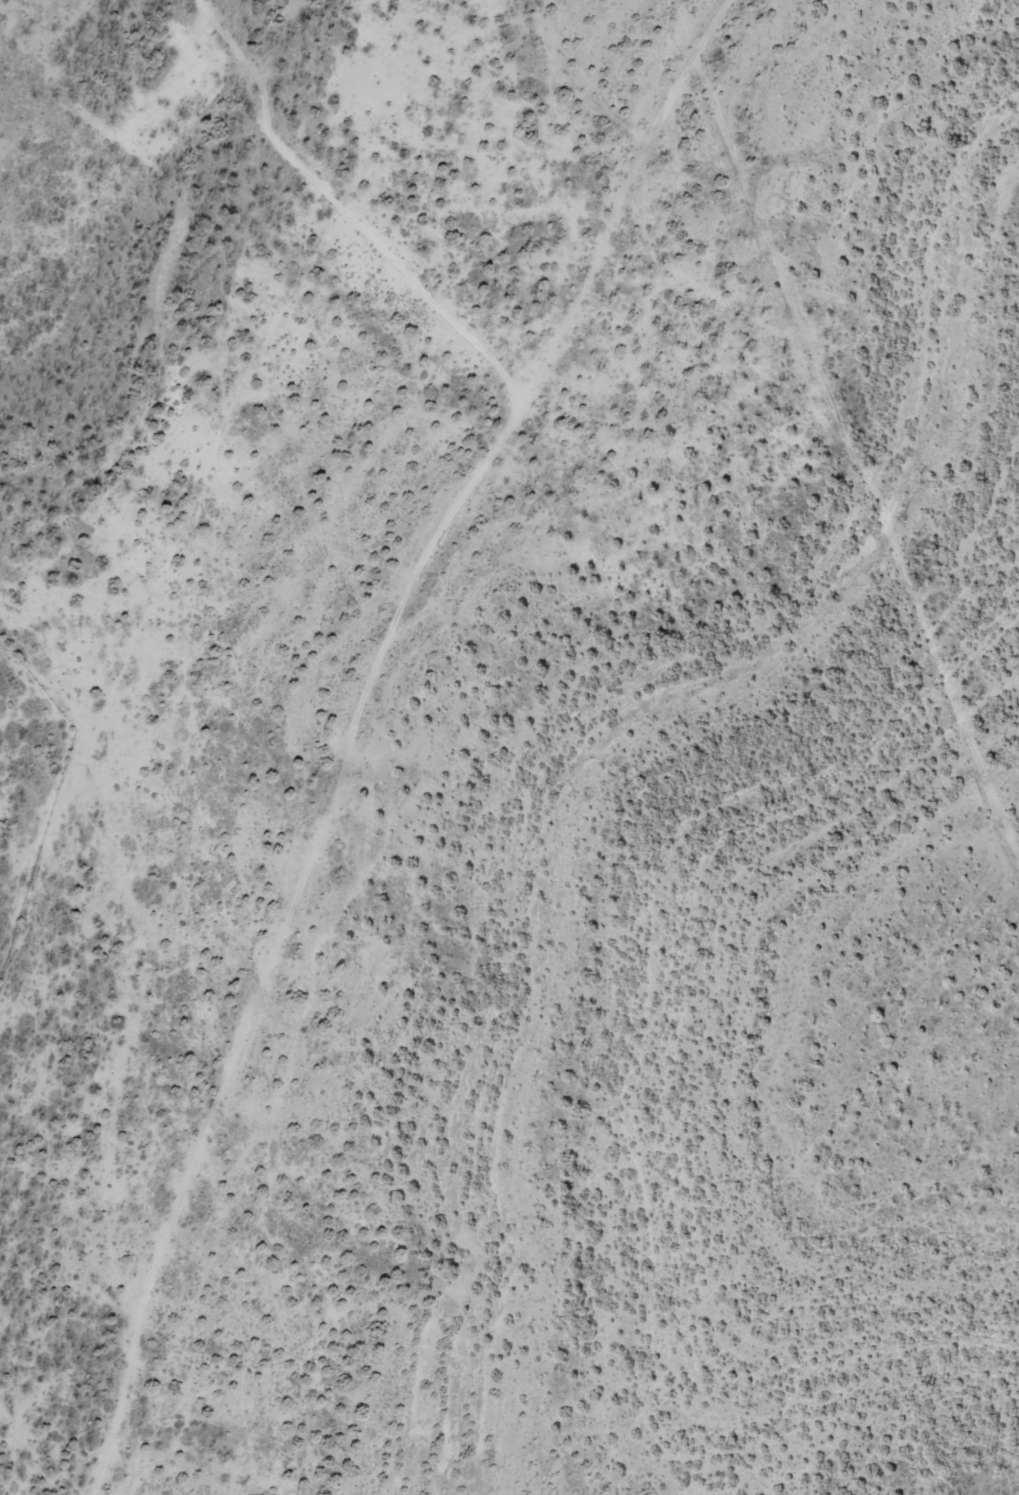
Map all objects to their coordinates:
road: (386, 702)

